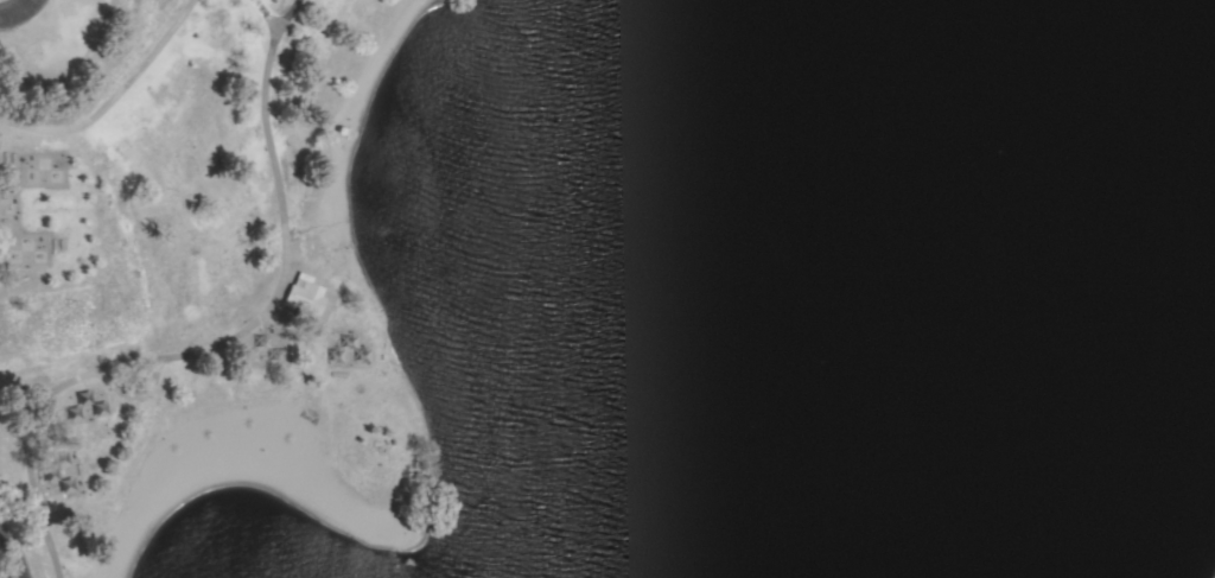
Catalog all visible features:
road: (9, 6)
parking lot: (17, 11)
road: (265, 13)
road: (71, 70)
road: (112, 97)
park: (607, 288)
building: (304, 299)
road: (218, 347)
road: (134, 395)
road: (8, 414)
road: (66, 465)
road: (13, 552)

